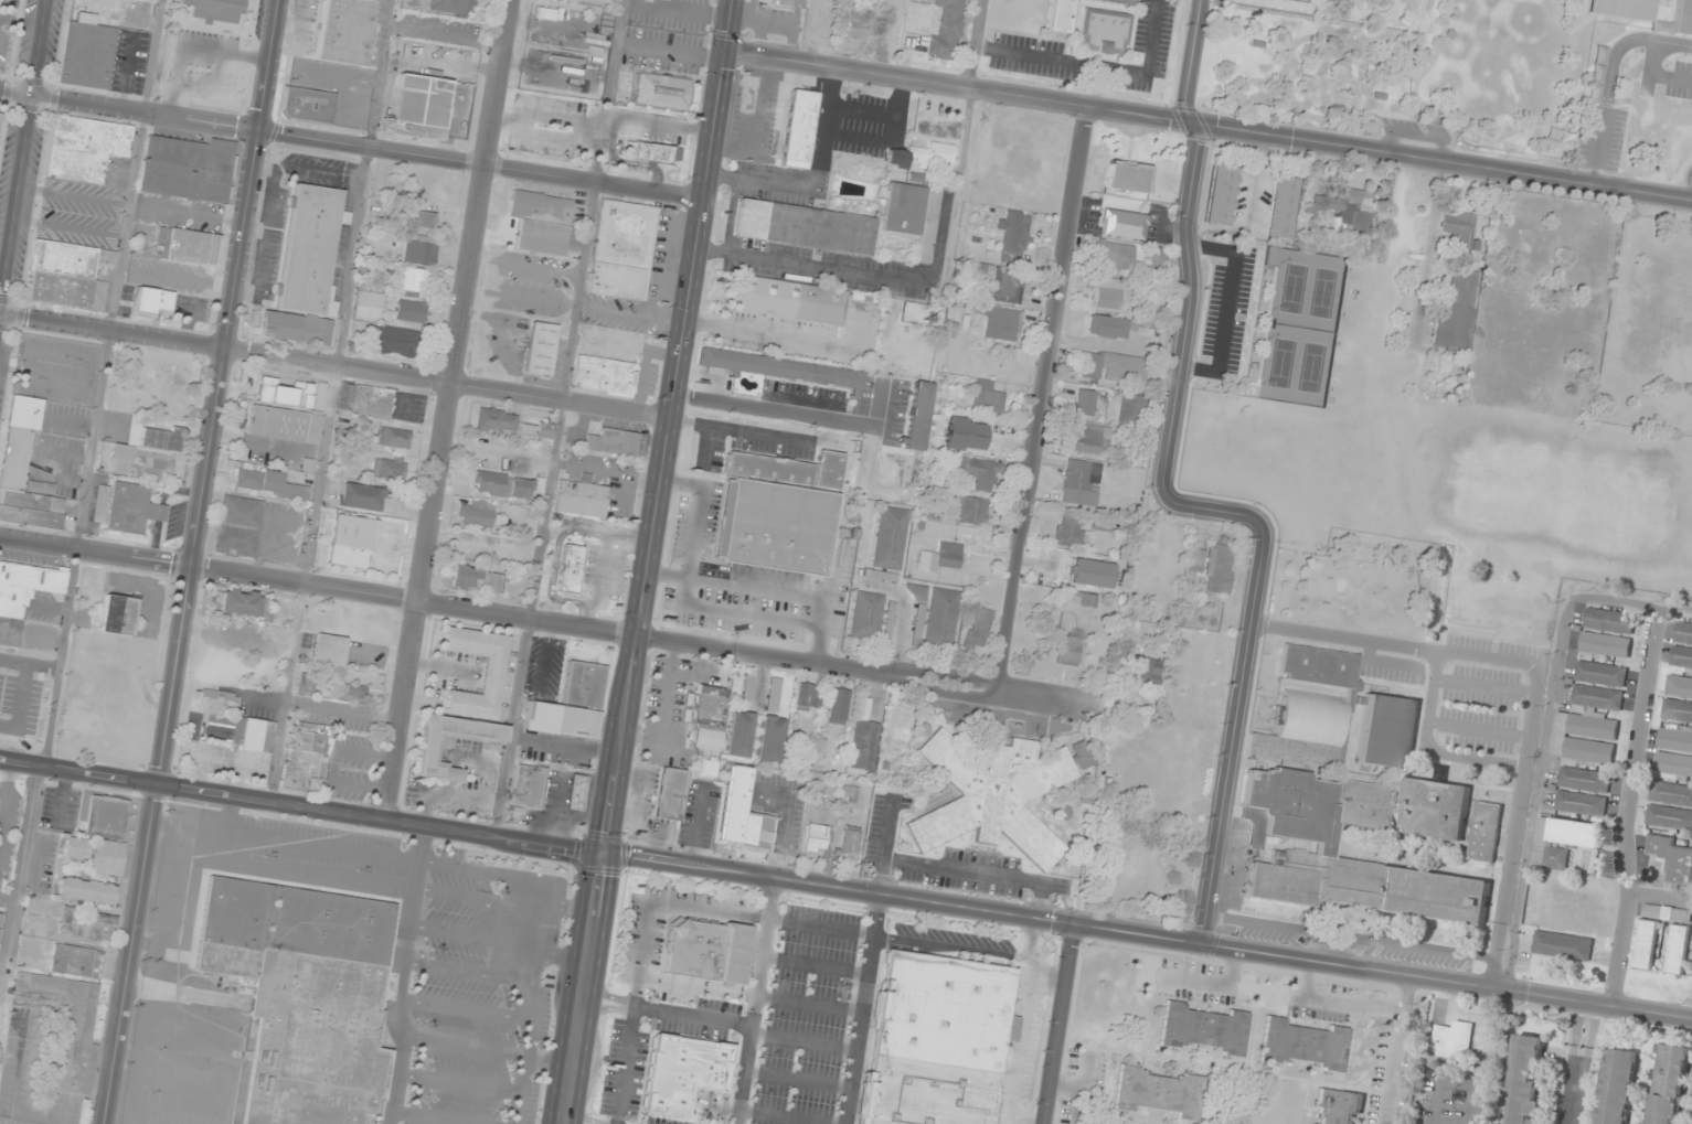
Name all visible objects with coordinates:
building: (9, 0)
building: (142, 0)
building: (777, 2)
building: (1119, 2)
building: (451, 7)
building: (1622, 8)
building: (215, 10)
building: (1061, 17)
building: (1683, 17)
building: (945, 29)
building: (345, 31)
building: (1103, 32)
building: (856, 33)
traffic signals: (726, 50)
building: (87, 56)
road: (1196, 60)
park: (1303, 71)
road: (1611, 77)
building: (662, 90)
building: (307, 106)
building: (418, 107)
road: (130, 109)
road: (661, 122)
building: (1, 124)
road: (1209, 124)
building: (798, 127)
road: (22, 143)
building: (84, 148)
building: (651, 152)
building: (921, 156)
road: (628, 161)
road: (482, 165)
building: (188, 169)
building: (1129, 178)
road: (1688, 181)
building: (1223, 195)
building: (1283, 207)
building: (1343, 207)
building: (541, 208)
building: (902, 210)
building: (425, 221)
building: (1124, 225)
building: (805, 227)
building: (1459, 235)
building: (1014, 236)
building: (188, 246)
building: (311, 250)
building: (622, 250)
building: (421, 251)
building: (1116, 257)
building: (1159, 258)
building: (68, 275)
road: (861, 277)
building: (414, 282)
building: (1007, 287)
building: (1108, 296)
building: (791, 300)
building: (155, 301)
building: (369, 306)
building: (1458, 310)
building: (409, 311)
building: (1000, 324)
building: (280, 325)
building: (1106, 328)
road: (113, 329)
building: (322, 331)
building: (395, 342)
building: (541, 351)
building: (1114, 367)
building: (776, 368)
building: (605, 375)
road: (103, 383)
road: (449, 383)
building: (987, 399)
road: (1044, 399)
road: (331, 402)
building: (368, 403)
building: (1085, 404)
building: (1130, 407)
road: (449, 411)
road: (801, 415)
building: (919, 416)
road: (561, 419)
building: (497, 420)
building: (285, 425)
road: (670, 427)
building: (536, 431)
building: (965, 435)
building: (394, 438)
building: (1089, 439)
building: (614, 442)
building: (147, 452)
building: (390, 468)
building: (25, 471)
building: (982, 474)
building: (270, 483)
building: (1082, 483)
building: (502, 484)
building: (361, 497)
building: (582, 499)
building: (131, 509)
building: (971, 510)
building: (779, 512)
building: (476, 516)
road: (1236, 517)
building: (238, 526)
building: (1070, 531)
building: (891, 538)
building: (353, 542)
road: (96, 550)
building: (940, 557)
building: (1195, 560)
road: (193, 561)
building: (571, 569)
building: (1219, 569)
building: (477, 579)
building: (917, 592)
building: (23, 595)
building: (1084, 599)
building: (238, 602)
road: (49, 607)
building: (1471, 611)
building: (118, 614)
building: (868, 615)
building: (941, 617)
building: (1521, 618)
building: (1400, 624)
building: (978, 628)
building: (1607, 633)
road: (640, 635)
building: (1682, 646)
building: (329, 651)
building: (1067, 651)
road: (28, 664)
road: (700, 664)
building: (1319, 666)
building: (1149, 672)
building: (492, 673)
building: (1600, 674)
building: (307, 683)
road: (1534, 685)
road: (1485, 686)
road: (666, 691)
building: (354, 692)
building: (810, 696)
building: (1597, 697)
building: (219, 698)
building: (1679, 699)
parking lot: (19, 704)
building: (571, 704)
road: (20, 705)
building: (840, 706)
building: (709, 718)
building: (902, 725)
road: (1478, 728)
building: (1307, 730)
building: (237, 731)
building: (1386, 734)
building: (739, 735)
road: (651, 738)
building: (770, 739)
building: (864, 739)
building: (1585, 739)
road: (1430, 746)
building: (427, 748)
building: (1083, 753)
building: (1674, 753)
building: (307, 756)
building: (706, 769)
building: (1584, 780)
traffic signals: (160, 784)
building: (529, 786)
building: (577, 792)
building: (671, 793)
building: (850, 793)
road: (61, 796)
building: (994, 796)
road: (6, 800)
building: (1581, 804)
building: (1670, 807)
road: (301, 809)
building: (1434, 810)
road: (1628, 812)
building: (744, 816)
building: (107, 817)
building: (1486, 832)
building: (817, 837)
building: (1565, 838)
building: (849, 842)
building: (75, 847)
building: (1302, 852)
traffic signals: (604, 855)
building: (108, 857)
building: (1672, 859)
road: (20, 869)
building: (86, 891)
road: (8, 896)
building: (1571, 916)
building: (87, 924)
road: (819, 927)
building: (528, 928)
building: (1673, 933)
road: (1148, 934)
road: (951, 945)
building: (1562, 945)
building: (1646, 945)
building: (705, 951)
road: (642, 954)
building: (72, 961)
road: (813, 966)
road: (402, 976)
road: (1046, 977)
road: (696, 986)
road: (584, 988)
building: (305, 995)
road: (754, 1002)
road: (808, 1004)
road: (667, 1009)
road: (861, 1009)
road: (1022, 1020)
road: (1056, 1024)
building: (1203, 1029)
road: (802, 1040)
building: (1452, 1041)
building: (934, 1042)
building: (1303, 1045)
building: (49, 1050)
road: (1577, 1064)
road: (730, 1072)
building: (680, 1073)
road: (796, 1079)
building: (1526, 1079)
building: (1669, 1084)
building: (1618, 1086)
building: (1159, 1093)
building: (1335, 1106)
road: (783, 1117)
road: (1025, 1117)

